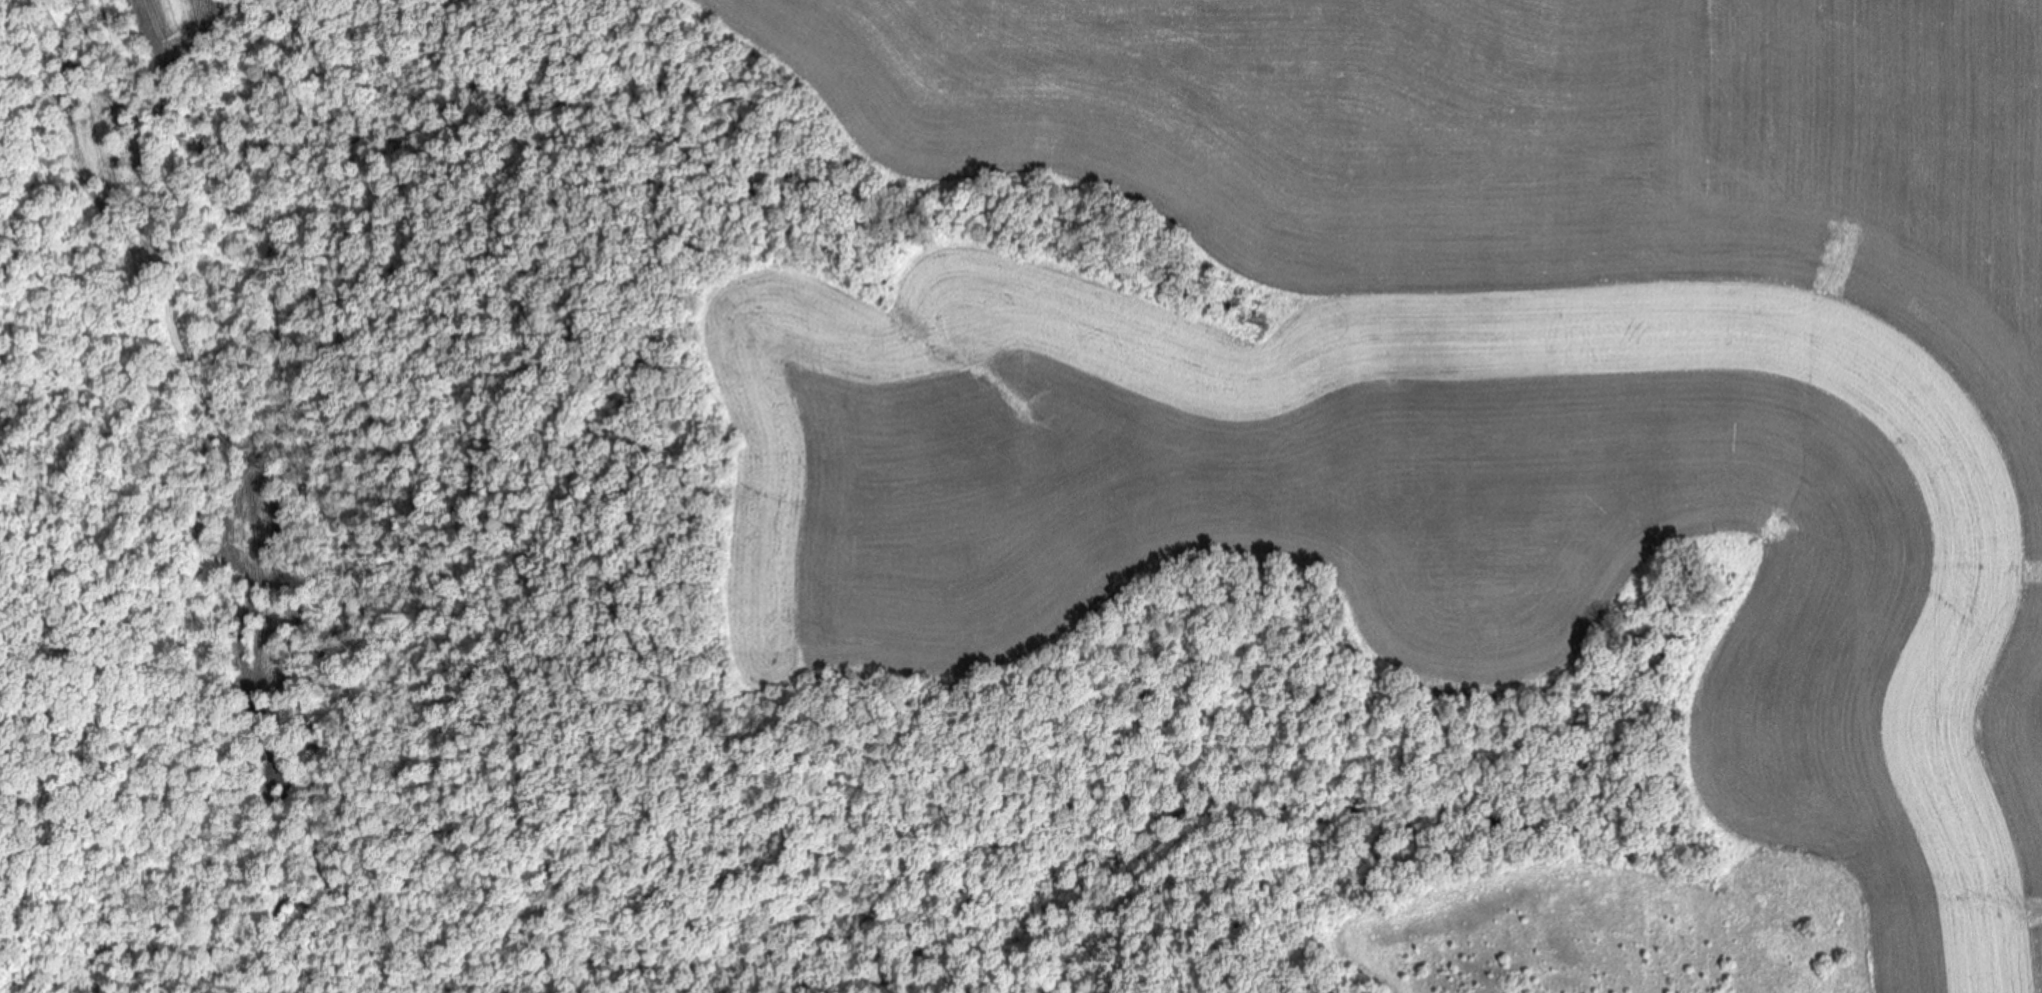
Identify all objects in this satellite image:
building: (242, 534)

